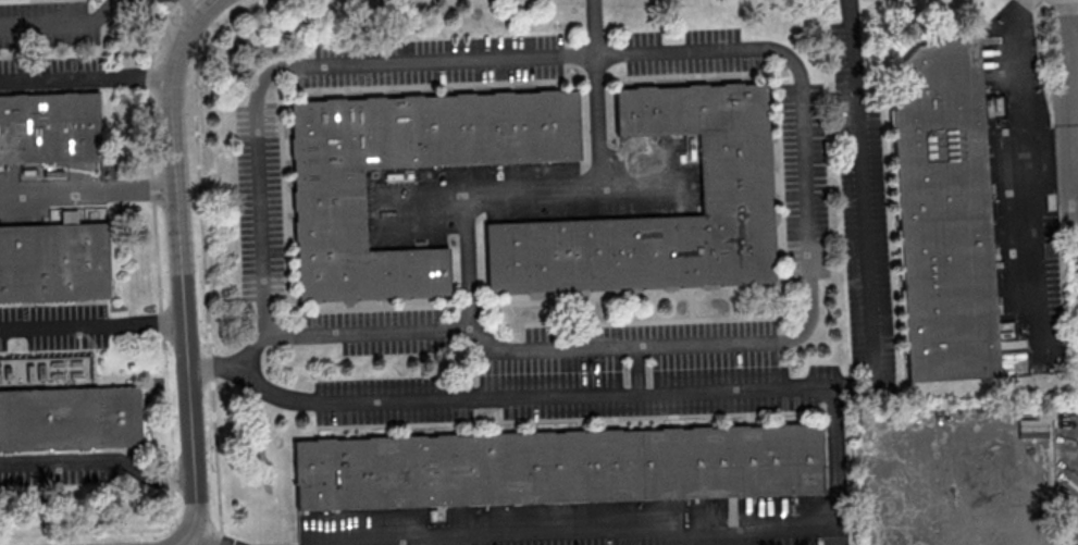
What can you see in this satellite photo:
road: (197, 8)
road: (63, 21)
road: (1073, 21)
road: (591, 27)
road: (1076, 41)
road: (91, 74)
road: (800, 90)
road: (1074, 102)
building: (50, 126)
road: (1027, 159)
building: (738, 175)
road: (90, 189)
road: (535, 195)
building: (329, 206)
building: (945, 214)
building: (54, 261)
road: (185, 268)
road: (94, 322)
road: (506, 397)
building: (72, 417)
road: (101, 457)
building: (558, 467)
road: (833, 507)
road: (206, 541)

